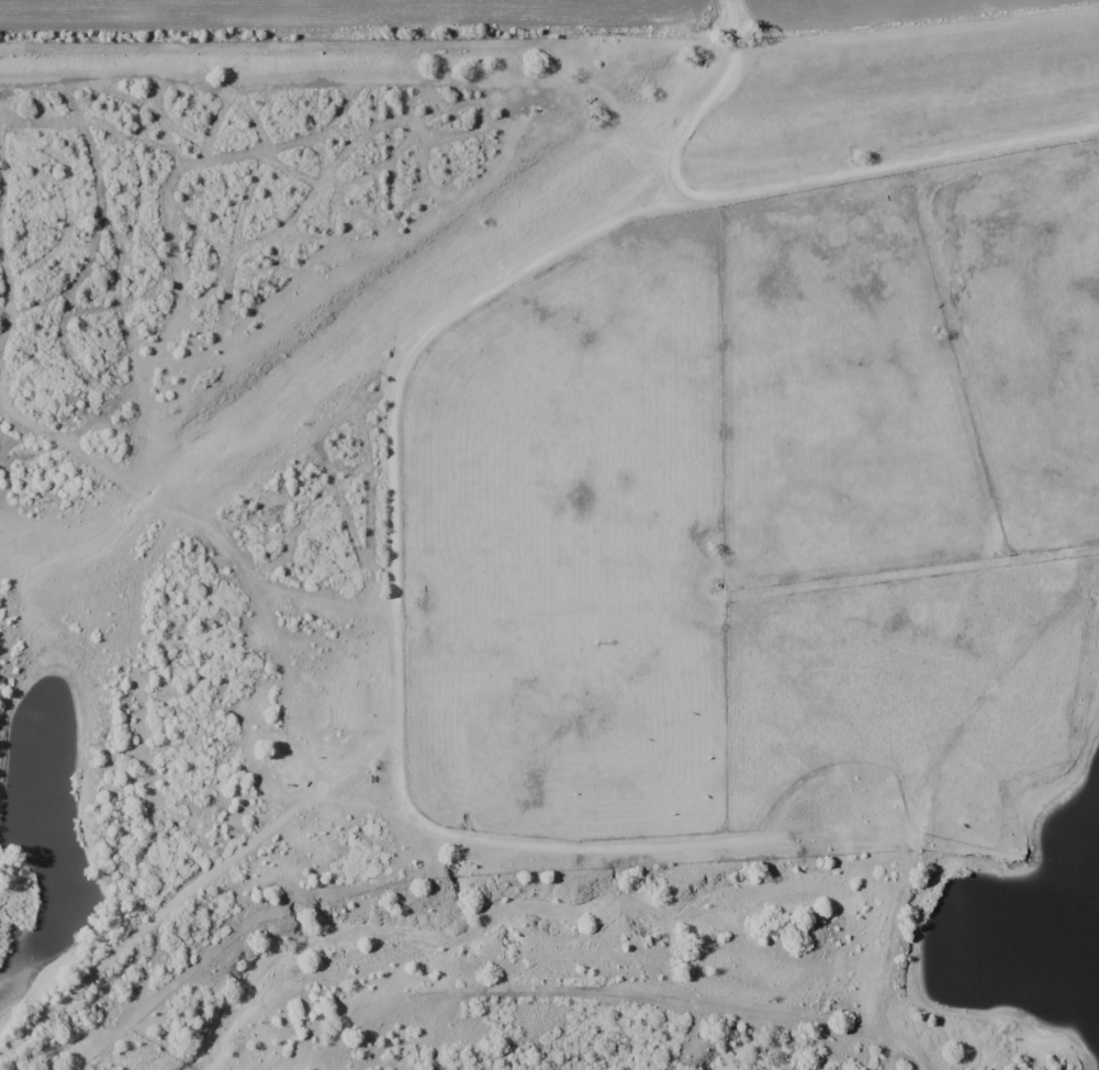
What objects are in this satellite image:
road: (900, 32)

